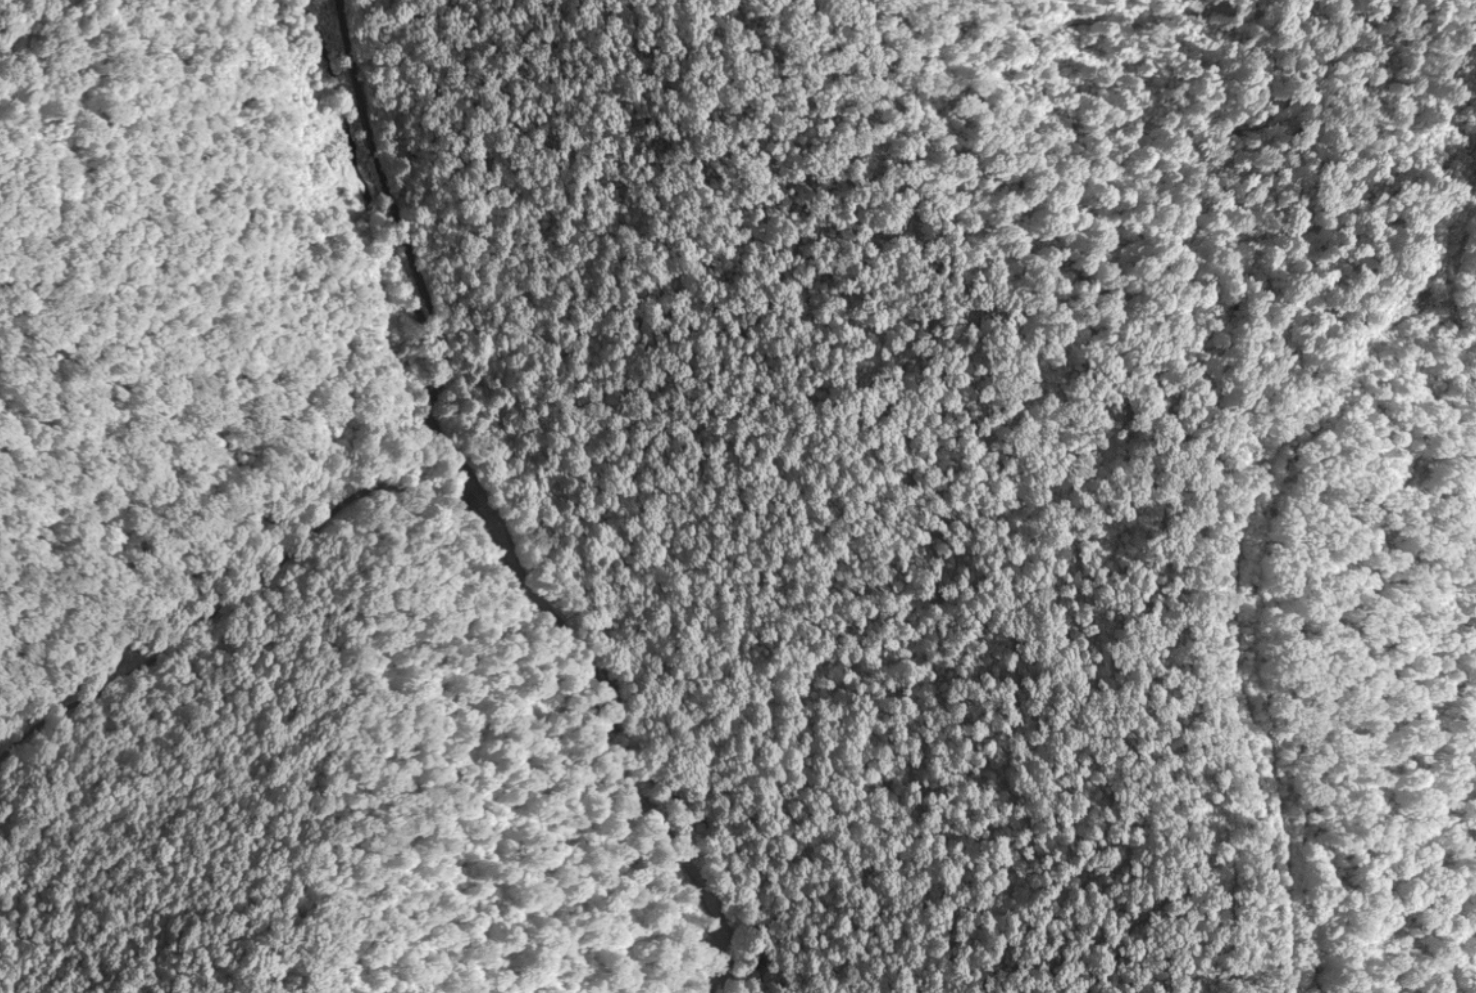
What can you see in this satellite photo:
road: (460, 514)
road: (212, 600)

